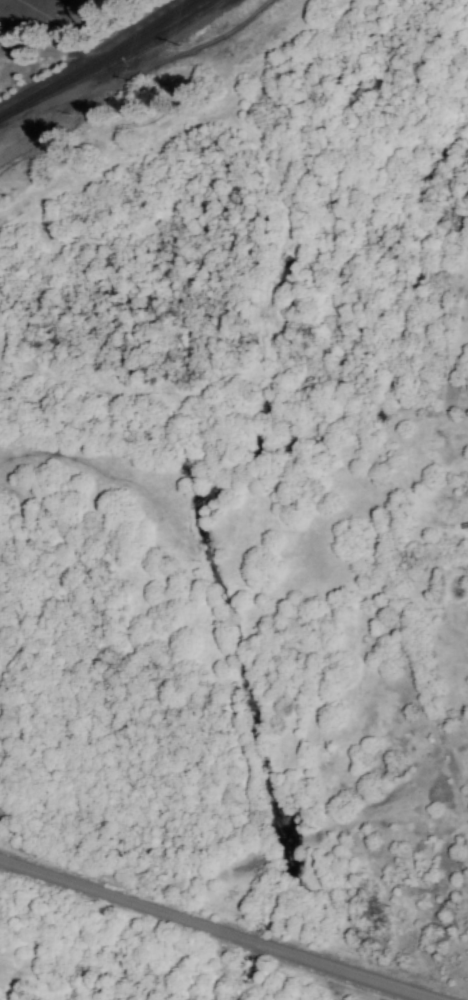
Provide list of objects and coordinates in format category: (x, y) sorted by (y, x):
building: (92, 7)
railway: (94, 60)
railway: (112, 66)
road: (225, 929)

